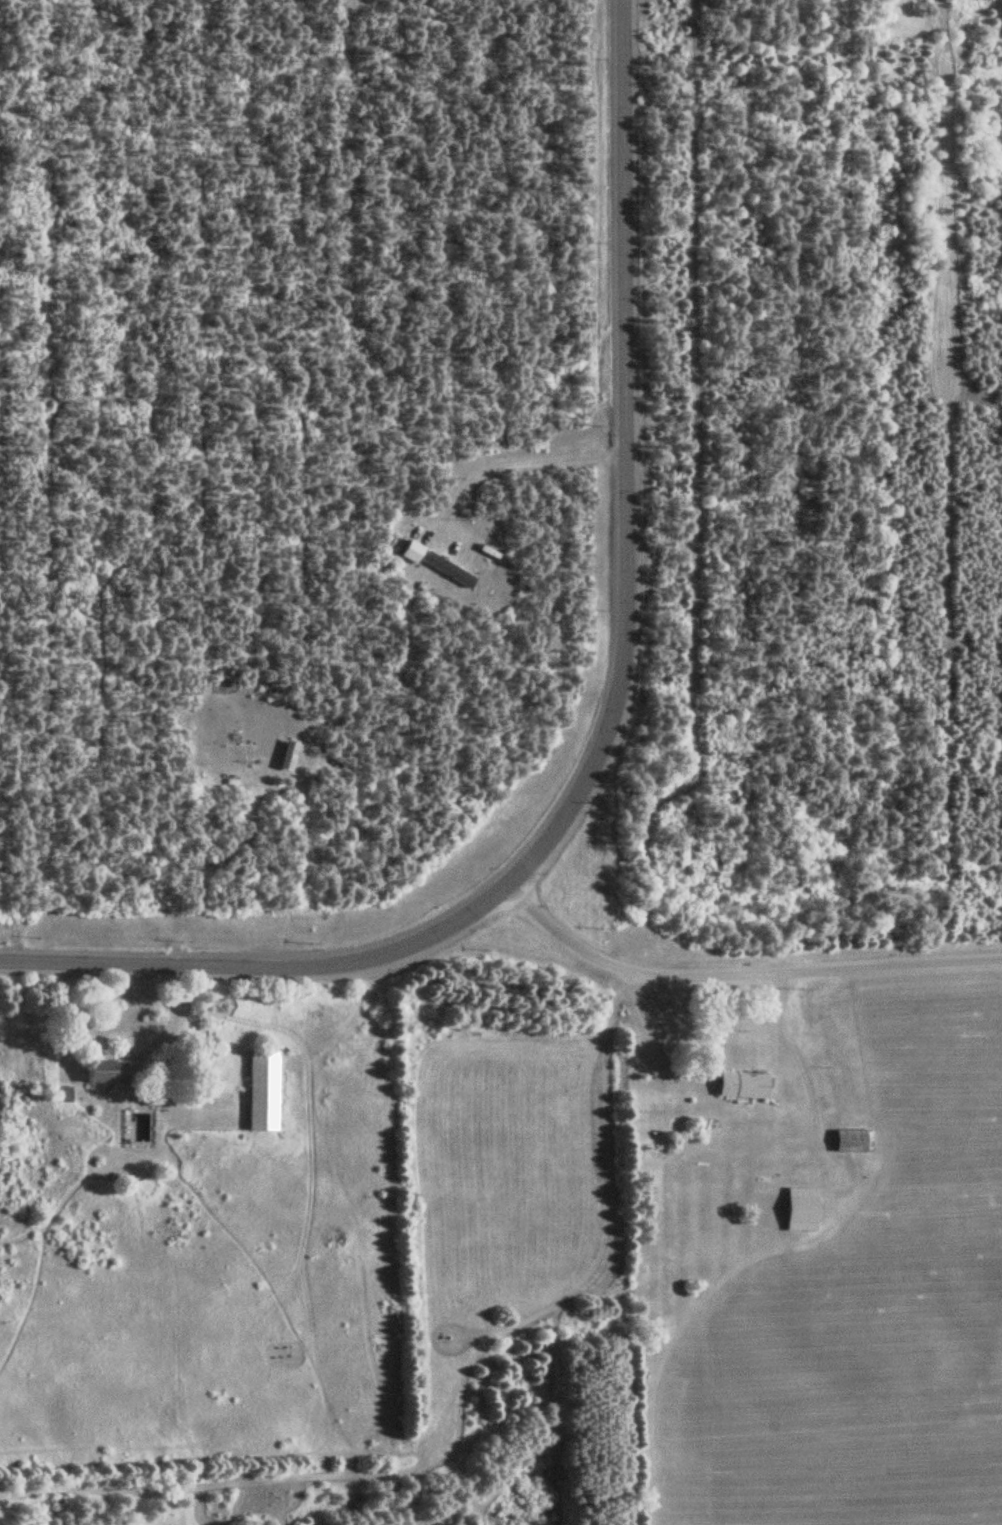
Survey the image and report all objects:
road: (626, 459)
building: (410, 551)
building: (447, 569)
road: (740, 966)
road: (263, 967)
road: (787, 1018)
road: (657, 1040)
building: (105, 1072)
building: (741, 1085)
building: (261, 1091)
road: (191, 1101)
road: (821, 1127)
building: (852, 1141)
building: (800, 1209)

